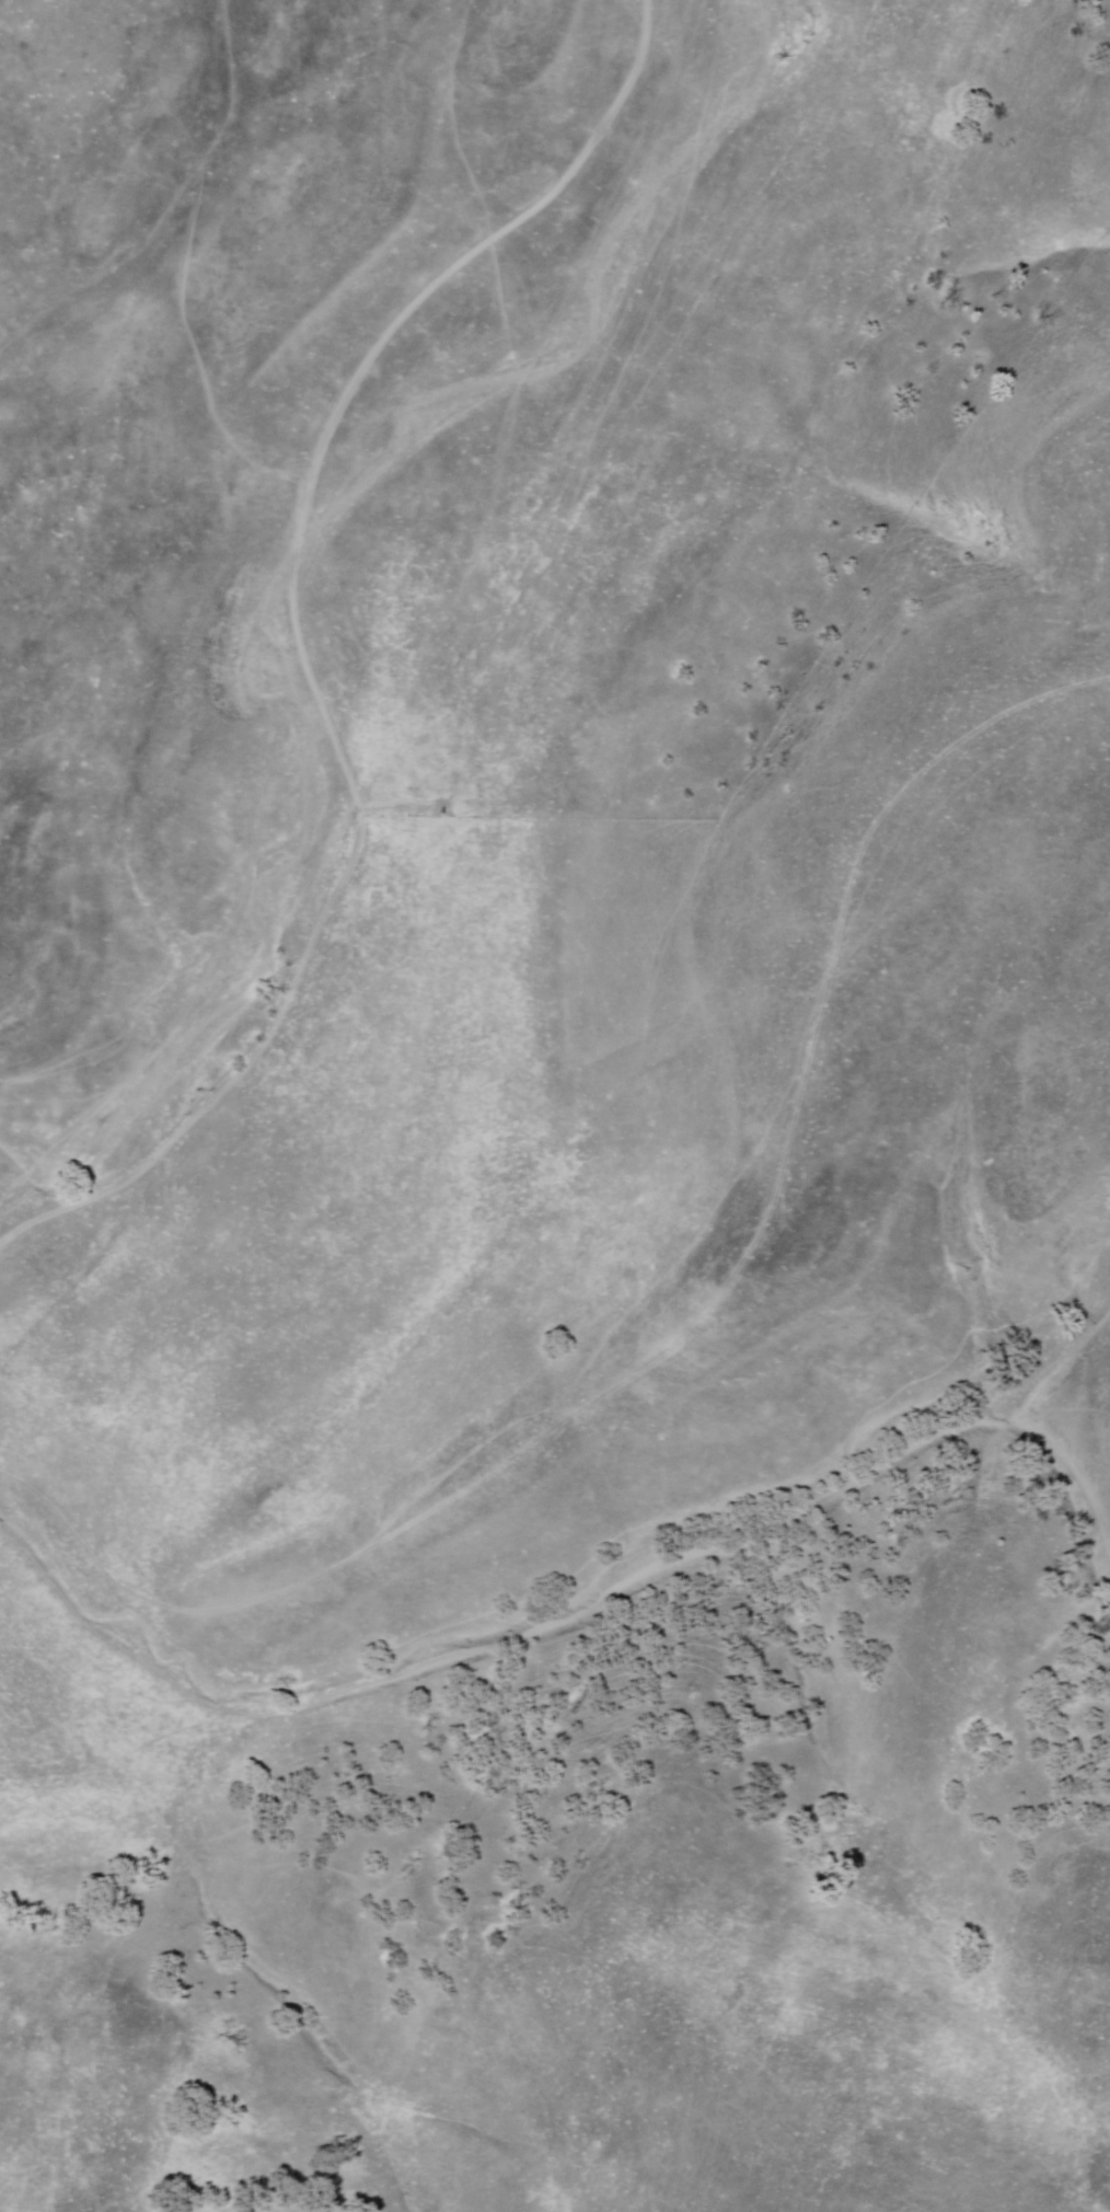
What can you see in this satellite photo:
road: (294, 638)
road: (569, 1626)

